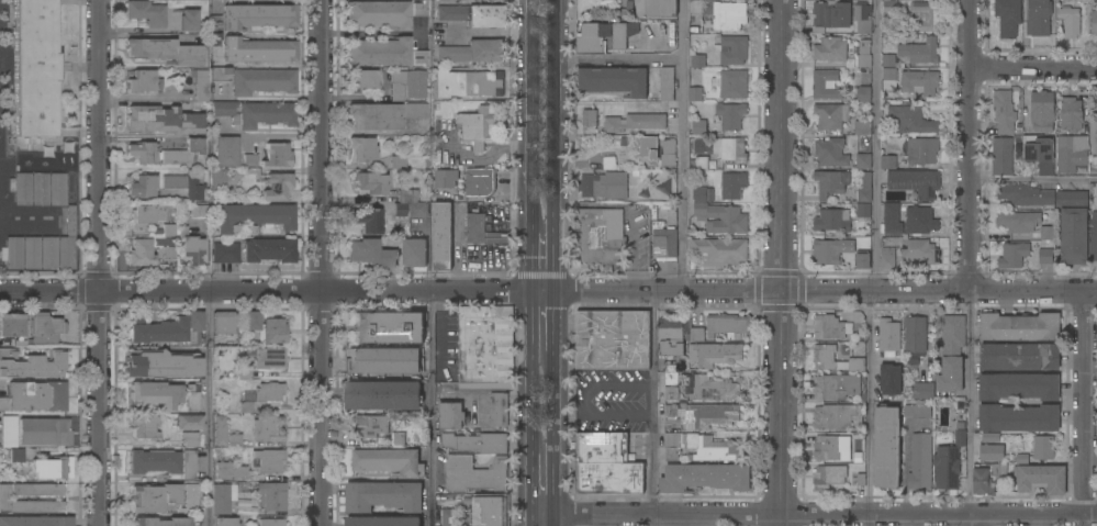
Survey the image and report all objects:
building: (695, 5)
building: (888, 7)
building: (419, 8)
building: (656, 8)
building: (146, 12)
building: (378, 13)
building: (472, 14)
building: (831, 14)
building: (258, 15)
building: (728, 15)
building: (924, 16)
building: (1007, 16)
building: (1039, 18)
building: (188, 19)
building: (1070, 19)
building: (862, 20)
building: (214, 22)
building: (1094, 22)
building: (624, 27)
building: (668, 29)
building: (818, 31)
building: (214, 40)
building: (590, 44)
building: (166, 49)
building: (731, 49)
building: (830, 49)
building: (259, 51)
building: (919, 51)
building: (379, 52)
building: (472, 52)
building: (863, 54)
building: (419, 57)
road: (620, 59)
building: (697, 60)
building: (887, 60)
road: (1033, 68)
building: (34, 71)
building: (220, 74)
building: (361, 79)
building: (889, 79)
building: (262, 80)
building: (614, 80)
building: (142, 81)
building: (919, 82)
building: (200, 83)
building: (468, 83)
building: (667, 83)
building: (731, 83)
building: (826, 85)
building: (415, 89)
building: (695, 93)
building: (864, 96)
building: (415, 110)
building: (1004, 111)
building: (1041, 111)
building: (256, 113)
building: (1071, 114)
building: (729, 115)
building: (830, 115)
building: (374, 116)
road: (531, 116)
road: (555, 116)
building: (589, 117)
building: (161, 120)
building: (909, 120)
building: (634, 122)
building: (479, 126)
building: (698, 127)
building: (862, 127)
building: (1093, 137)
road: (683, 145)
road: (875, 145)
road: (969, 145)
building: (361, 149)
building: (729, 149)
building: (183, 150)
building: (225, 150)
building: (657, 150)
building: (921, 150)
building: (142, 152)
building: (830, 152)
building: (1039, 153)
building: (1072, 154)
building: (277, 155)
building: (1001, 157)
building: (249, 160)
building: (697, 161)
building: (863, 161)
building: (398, 163)
building: (887, 163)
building: (446, 178)
building: (217, 179)
road: (1032, 179)
building: (480, 181)
building: (370, 182)
building: (830, 182)
building: (915, 182)
building: (604, 184)
building: (732, 184)
building: (142, 186)
building: (184, 186)
building: (276, 187)
building: (20, 188)
building: (40, 188)
building: (864, 188)
building: (57, 189)
building: (698, 194)
building: (1025, 195)
building: (1071, 199)
building: (410, 204)
building: (863, 210)
building: (199, 211)
building: (144, 215)
building: (253, 216)
building: (367, 219)
building: (719, 219)
building: (892, 220)
building: (70, 221)
building: (832, 221)
building: (920, 221)
building: (1018, 221)
building: (475, 227)
building: (168, 230)
building: (1048, 233)
building: (441, 235)
building: (1073, 236)
building: (1094, 236)
building: (597, 239)
building: (163, 240)
building: (664, 243)
building: (190, 246)
building: (268, 250)
road: (629, 250)
building: (919, 250)
building: (225, 251)
building: (719, 251)
building: (830, 251)
building: (12, 253)
building: (31, 253)
building: (48, 253)
building: (66, 253)
building: (168, 253)
building: (371, 253)
building: (414, 253)
building: (139, 254)
building: (1015, 256)
building: (1045, 256)
building: (887, 258)
road: (542, 261)
road: (101, 262)
road: (322, 262)
road: (777, 262)
building: (863, 262)
road: (389, 290)
road: (872, 291)
road: (1032, 292)
road: (542, 320)
building: (222, 322)
building: (11, 325)
building: (44, 325)
building: (726, 325)
building: (265, 327)
building: (388, 327)
building: (830, 327)
building: (1019, 327)
building: (166, 328)
building: (696, 335)
building: (888, 336)
building: (670, 337)
building: (612, 339)
building: (914, 339)
building: (481, 348)
building: (951, 352)
building: (714, 354)
building: (1019, 357)
building: (824, 359)
building: (260, 360)
building: (383, 360)
building: (159, 363)
building: (31, 365)
building: (671, 379)
building: (889, 380)
building: (836, 387)
building: (1018, 387)
building: (714, 389)
building: (269, 391)
building: (921, 391)
road: (462, 392)
building: (155, 393)
building: (671, 393)
building: (381, 394)
building: (34, 396)
building: (192, 396)
road: (530, 400)
road: (552, 400)
road: (970, 402)
road: (1085, 403)
building: (245, 407)
road: (429, 407)
road: (652, 407)
road: (210, 409)
building: (499, 409)
road: (869, 409)
building: (916, 411)
building: (701, 414)
building: (450, 415)
building: (836, 416)
building: (1018, 417)
building: (188, 422)
building: (371, 425)
building: (144, 426)
building: (268, 428)
building: (220, 429)
building: (8, 430)
building: (44, 430)
building: (960, 435)
building: (990, 437)
building: (190, 438)
building: (234, 439)
building: (398, 439)
building: (477, 443)
building: (699, 447)
building: (886, 447)
building: (1043, 448)
building: (831, 449)
building: (990, 452)
building: (16, 455)
building: (1022, 459)
building: (154, 460)
building: (268, 460)
building: (388, 461)
building: (920, 462)
building: (189, 465)
building: (605, 465)
building: (53, 467)
building: (947, 468)
building: (230, 470)
building: (474, 474)
building: (828, 475)
building: (704, 477)
building: (987, 478)
building: (858, 479)
building: (1041, 479)
road: (542, 483)
building: (193, 495)
building: (271, 495)
building: (383, 495)
building: (153, 496)
building: (222, 496)
building: (4, 497)
building: (490, 511)
road: (659, 513)
road: (937, 513)
building: (448, 517)
road: (976, 519)
road: (1083, 519)
building: (35, 521)
building: (382, 521)
road: (538, 521)
road: (546, 521)
building: (160, 522)
building: (225, 522)
building: (271, 522)

